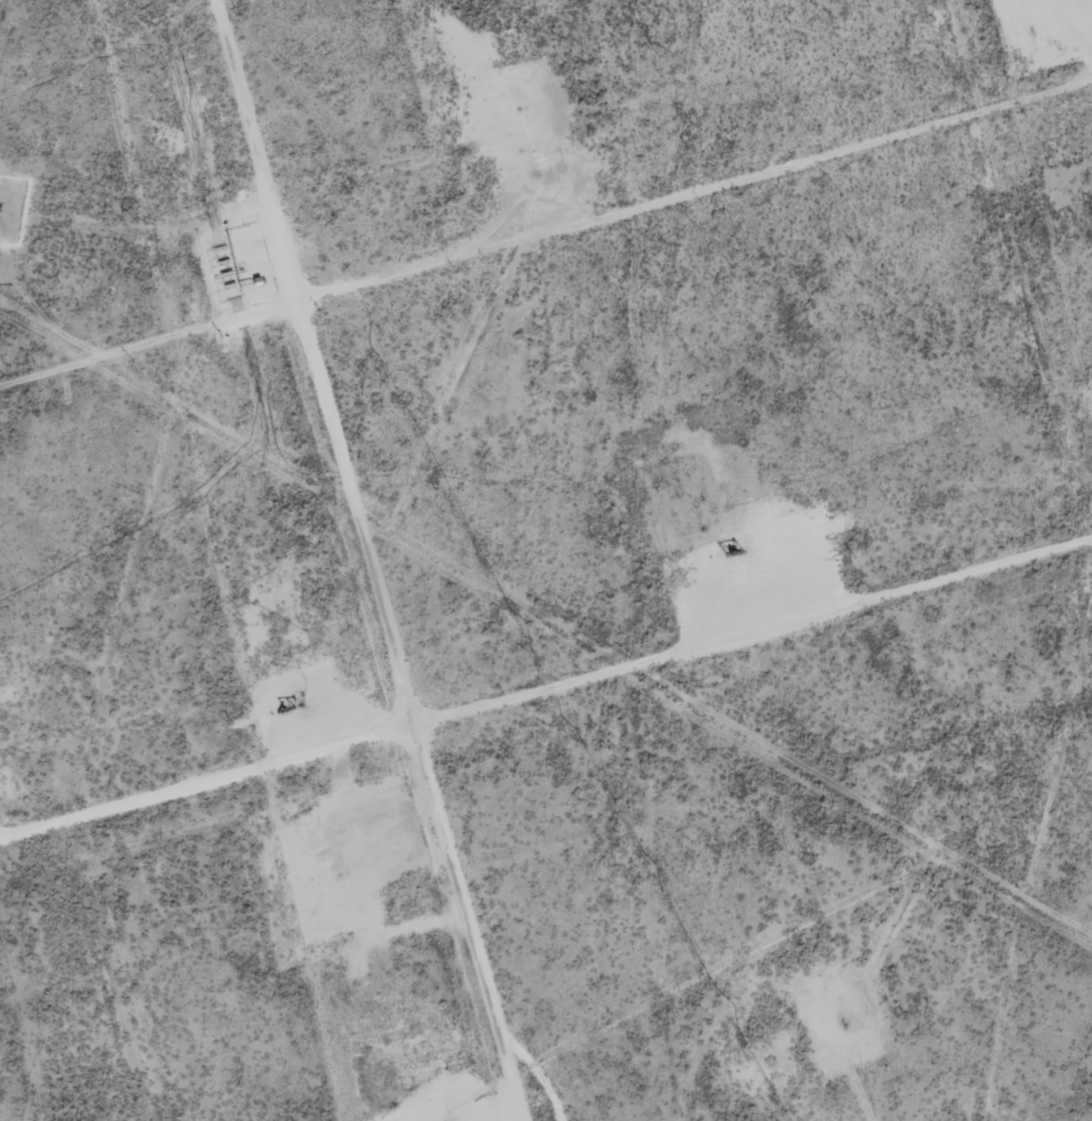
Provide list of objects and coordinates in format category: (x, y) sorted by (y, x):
road: (310, 559)
road: (546, 739)

